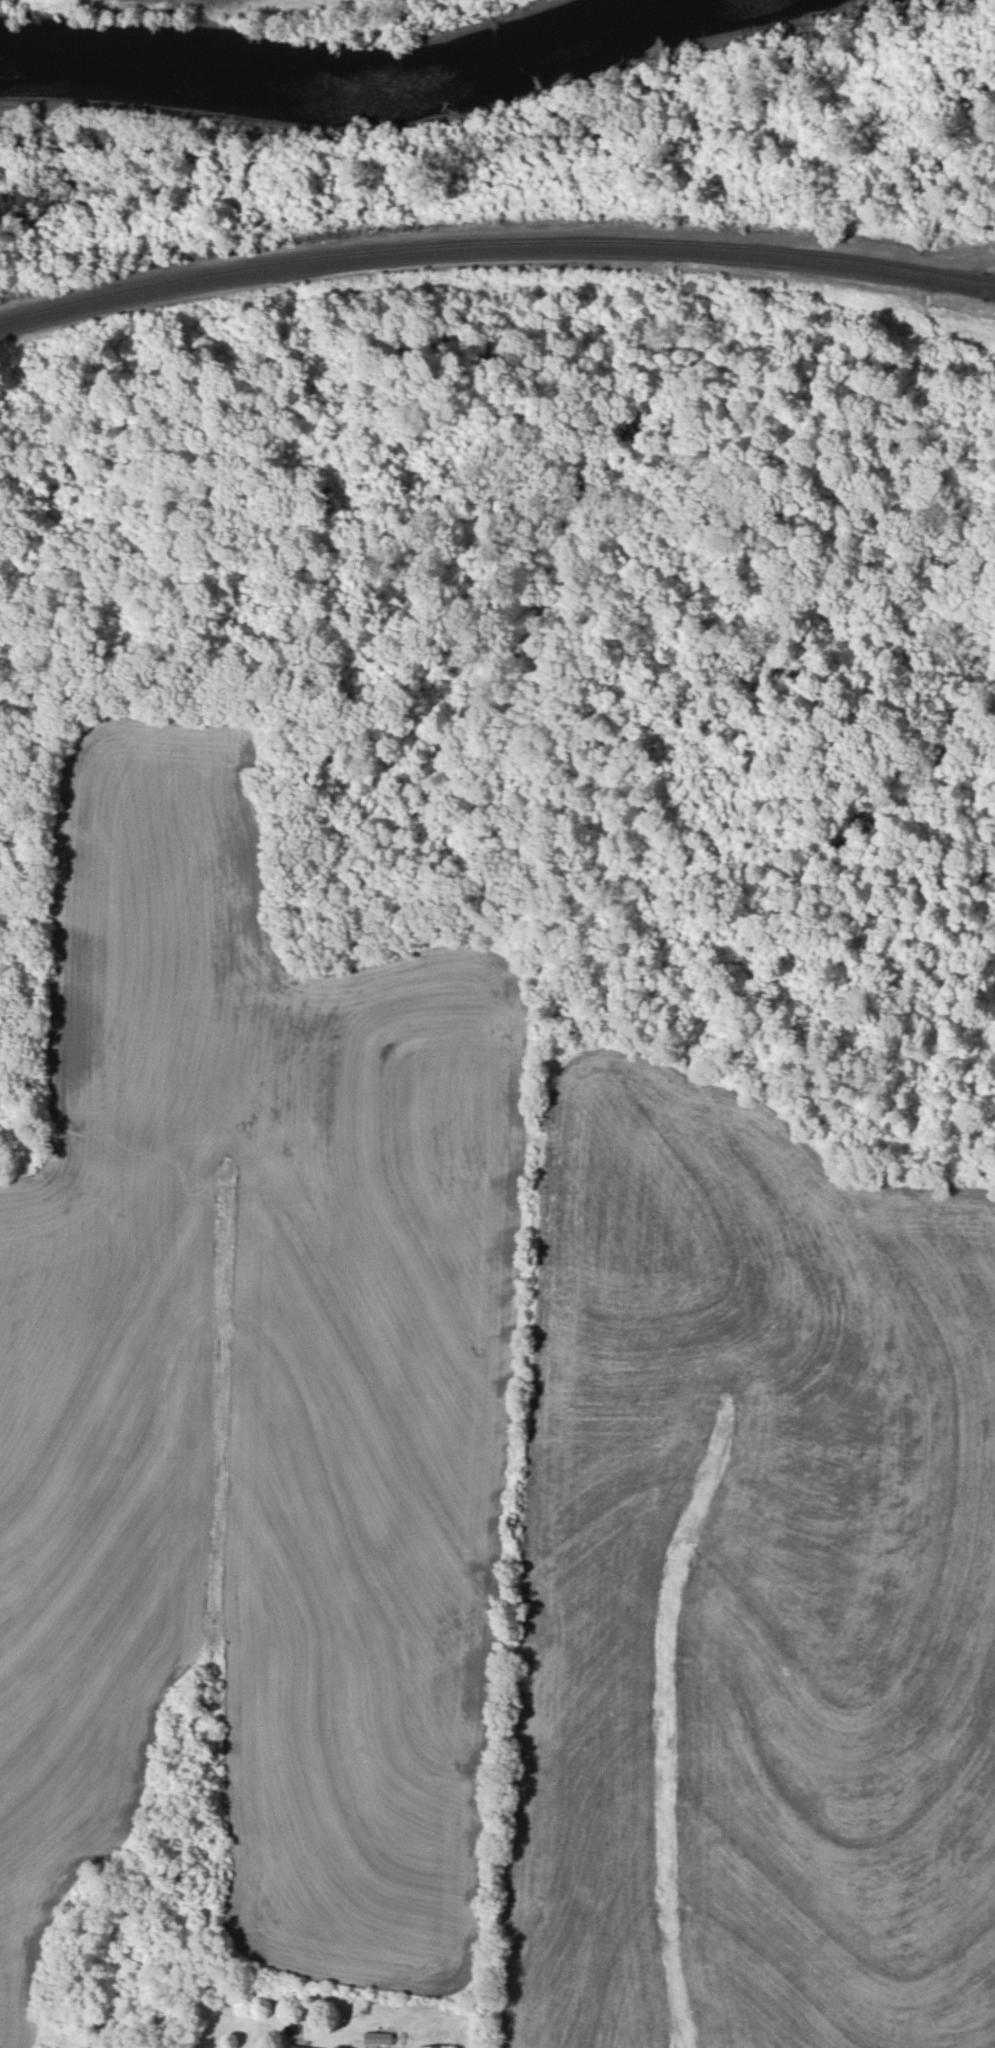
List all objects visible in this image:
river: (374, 97)
railway: (495, 237)
railway: (495, 246)
crop: (257, 1384)
crop: (743, 1581)
building: (378, 2037)
building: (299, 2046)
building: (432, 2046)

